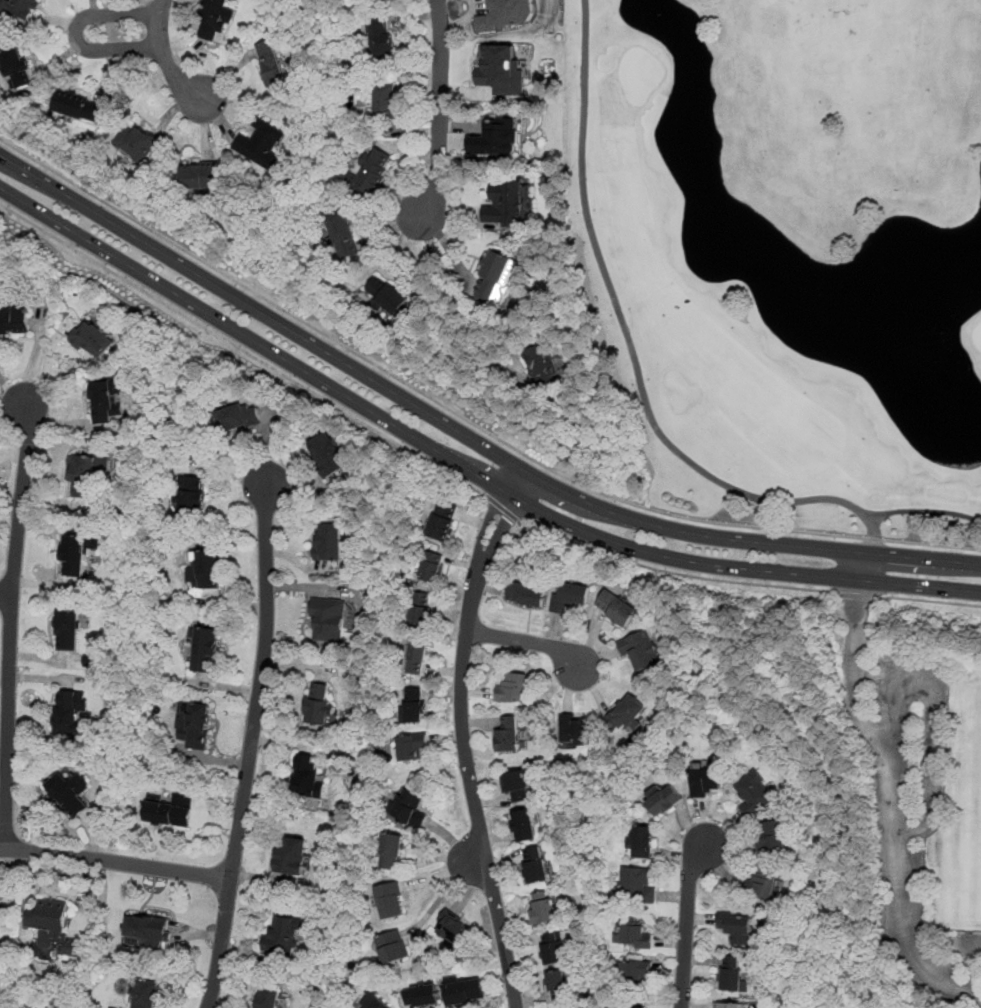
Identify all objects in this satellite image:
building: (18, 8)
building: (507, 14)
building: (214, 18)
road: (77, 34)
building: (382, 40)
road: (164, 55)
building: (270, 62)
building: (14, 67)
building: (500, 69)
building: (386, 100)
building: (77, 105)
road: (439, 110)
building: (495, 137)
building: (137, 141)
building: (262, 143)
building: (371, 170)
building: (198, 175)
building: (506, 202)
building: (341, 233)
road: (388, 249)
park: (791, 249)
road: (448, 250)
building: (496, 275)
building: (386, 294)
building: (14, 320)
building: (93, 341)
road: (244, 351)
building: (541, 363)
road: (641, 387)
building: (105, 401)
building: (239, 415)
road: (464, 418)
road: (464, 434)
road: (411, 437)
building: (328, 454)
building: (84, 473)
building: (189, 494)
road: (503, 510)
building: (443, 522)
building: (328, 542)
building: (74, 555)
building: (432, 567)
road: (863, 567)
building: (203, 570)
road: (674, 573)
road: (921, 586)
road: (5, 593)
building: (526, 594)
road: (857, 595)
building: (570, 596)
road: (929, 600)
building: (616, 610)
building: (423, 615)
building: (329, 619)
road: (10, 624)
building: (68, 630)
road: (524, 640)
building: (205, 650)
building: (642, 652)
building: (417, 655)
road: (859, 672)
road: (261, 680)
building: (512, 688)
building: (320, 705)
building: (412, 706)
building: (70, 711)
building: (627, 713)
road: (940, 714)
building: (195, 726)
building: (576, 729)
building: (508, 734)
road: (462, 735)
building: (411, 746)
parking lot: (925, 751)
building: (307, 775)
park: (903, 777)
building: (706, 782)
building: (515, 784)
road: (899, 791)
building: (70, 794)
building: (755, 795)
building: (664, 801)
building: (409, 808)
park: (976, 809)
building: (168, 811)
building: (524, 824)
building: (772, 837)
building: (643, 841)
building: (392, 852)
building: (291, 854)
road: (115, 861)
building: (535, 864)
building: (764, 884)
building: (639, 885)
building: (391, 900)
building: (543, 906)
road: (687, 922)
building: (52, 926)
building: (452, 926)
building: (736, 926)
building: (147, 928)
road: (908, 932)
building: (635, 934)
building: (284, 935)
road: (221, 943)
building: (392, 947)
building: (552, 947)
building: (635, 970)
building: (731, 973)
road: (977, 976)
building: (557, 985)
building: (465, 989)
building: (146, 993)
building: (421, 995)
building: (268, 996)
building: (374, 1002)
building: (728, 1005)
building: (636, 1007)

